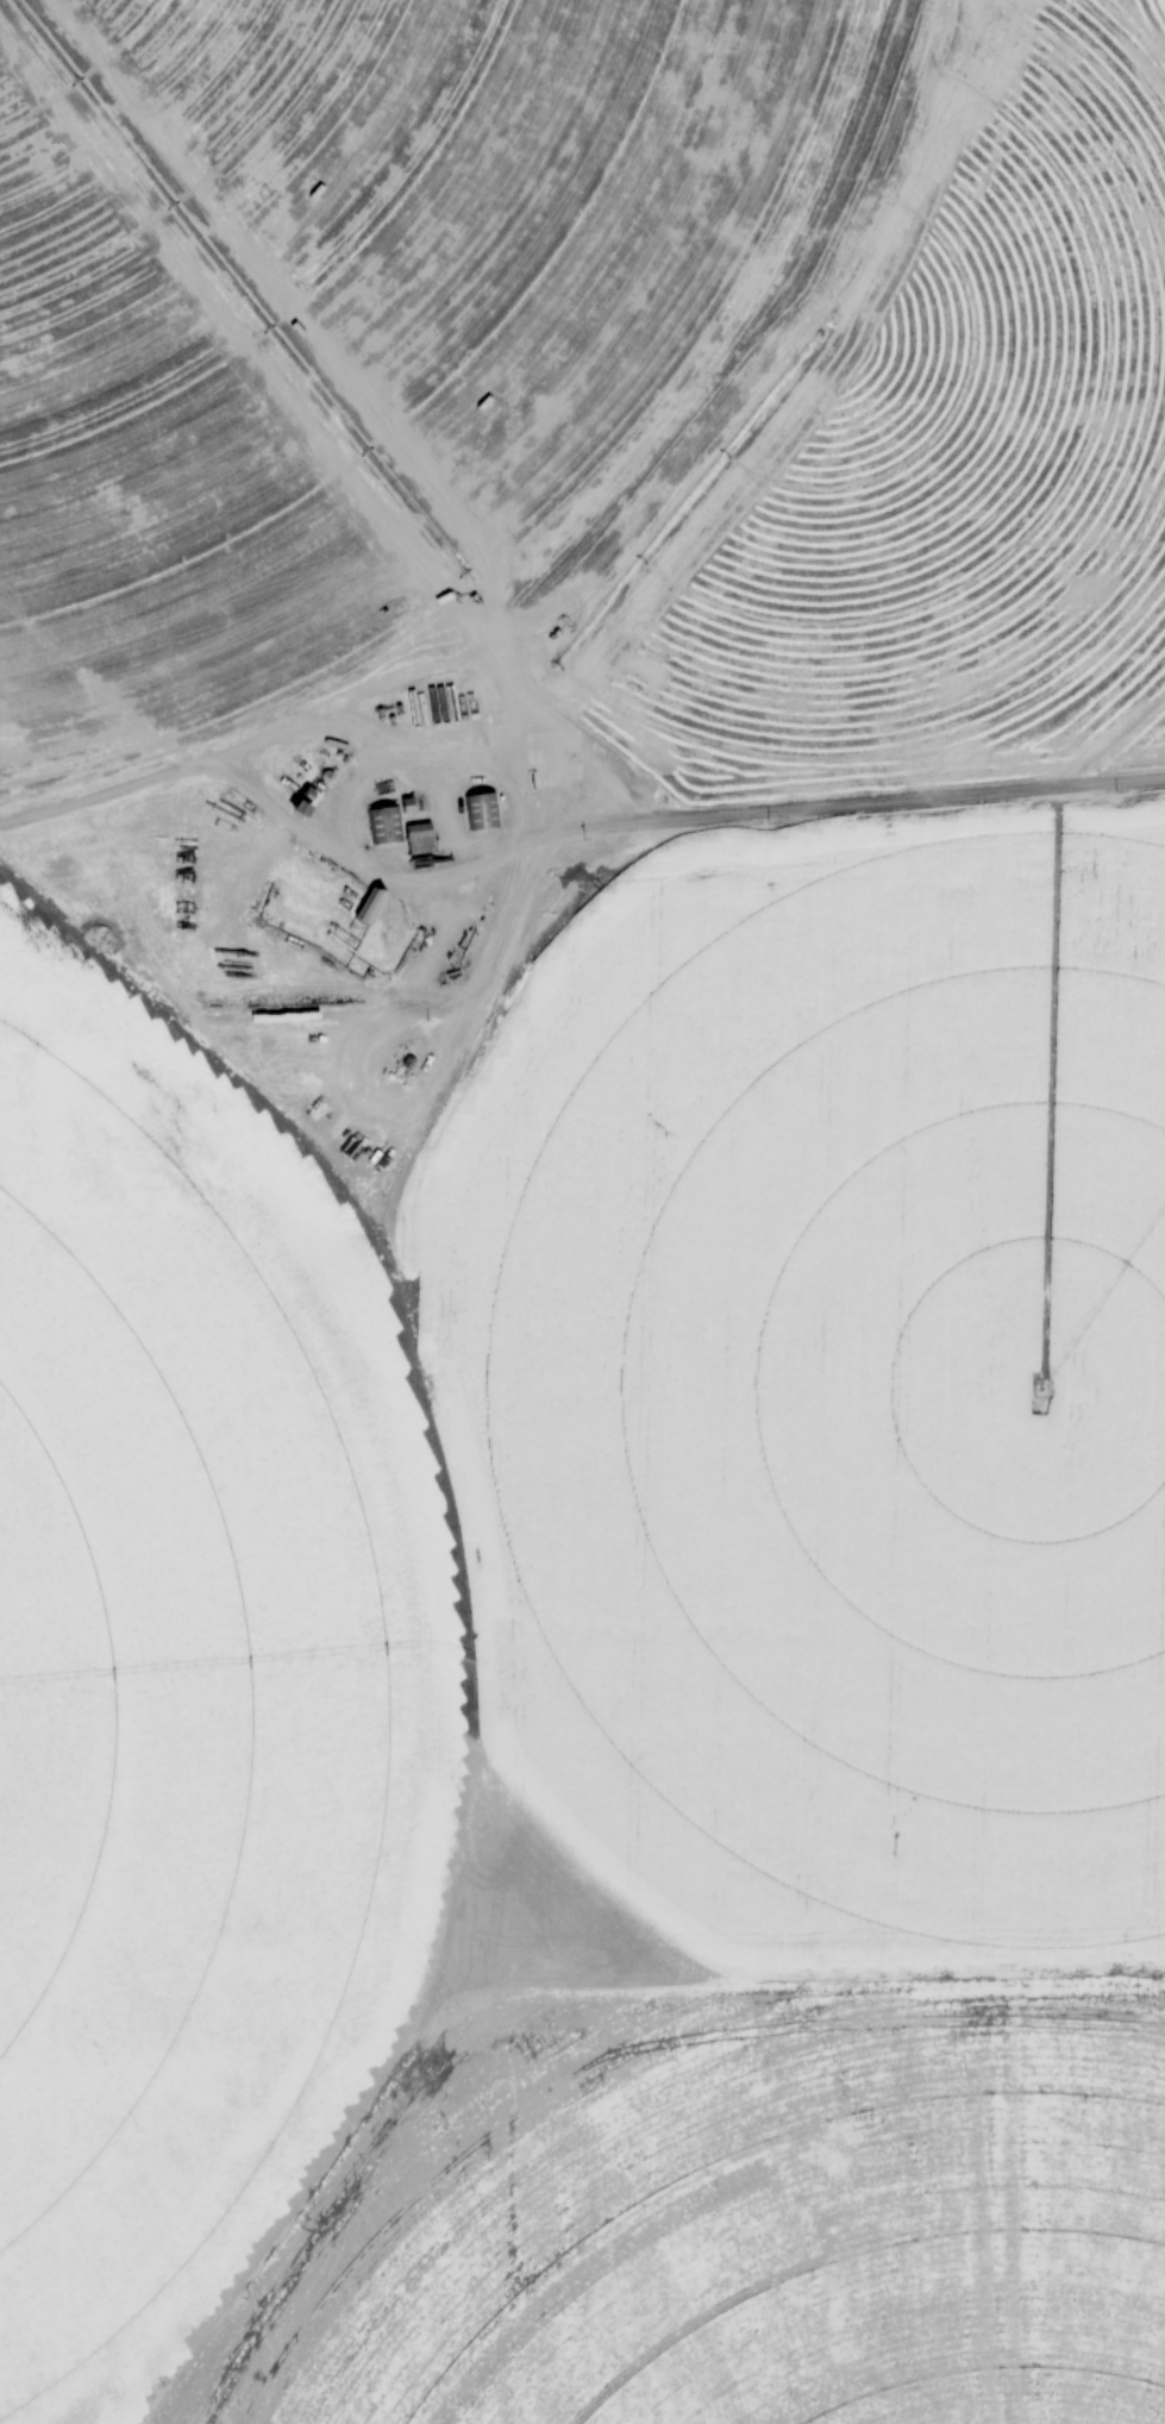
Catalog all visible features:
building: (480, 812)
building: (383, 825)
road: (563, 837)
building: (420, 838)
building: (371, 906)
building: (453, 975)

